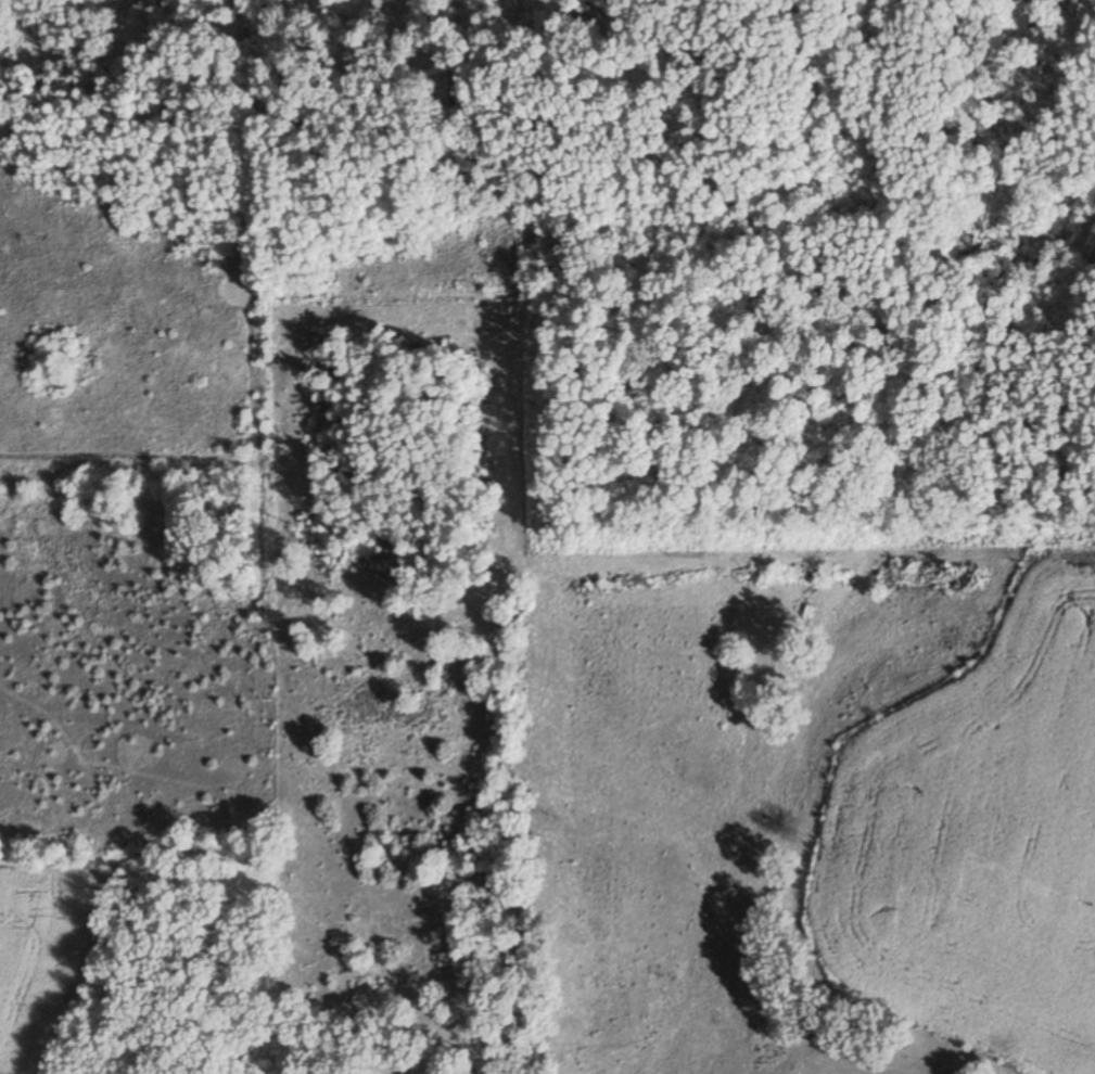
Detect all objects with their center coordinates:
crop: (973, 840)
crop: (40, 951)

